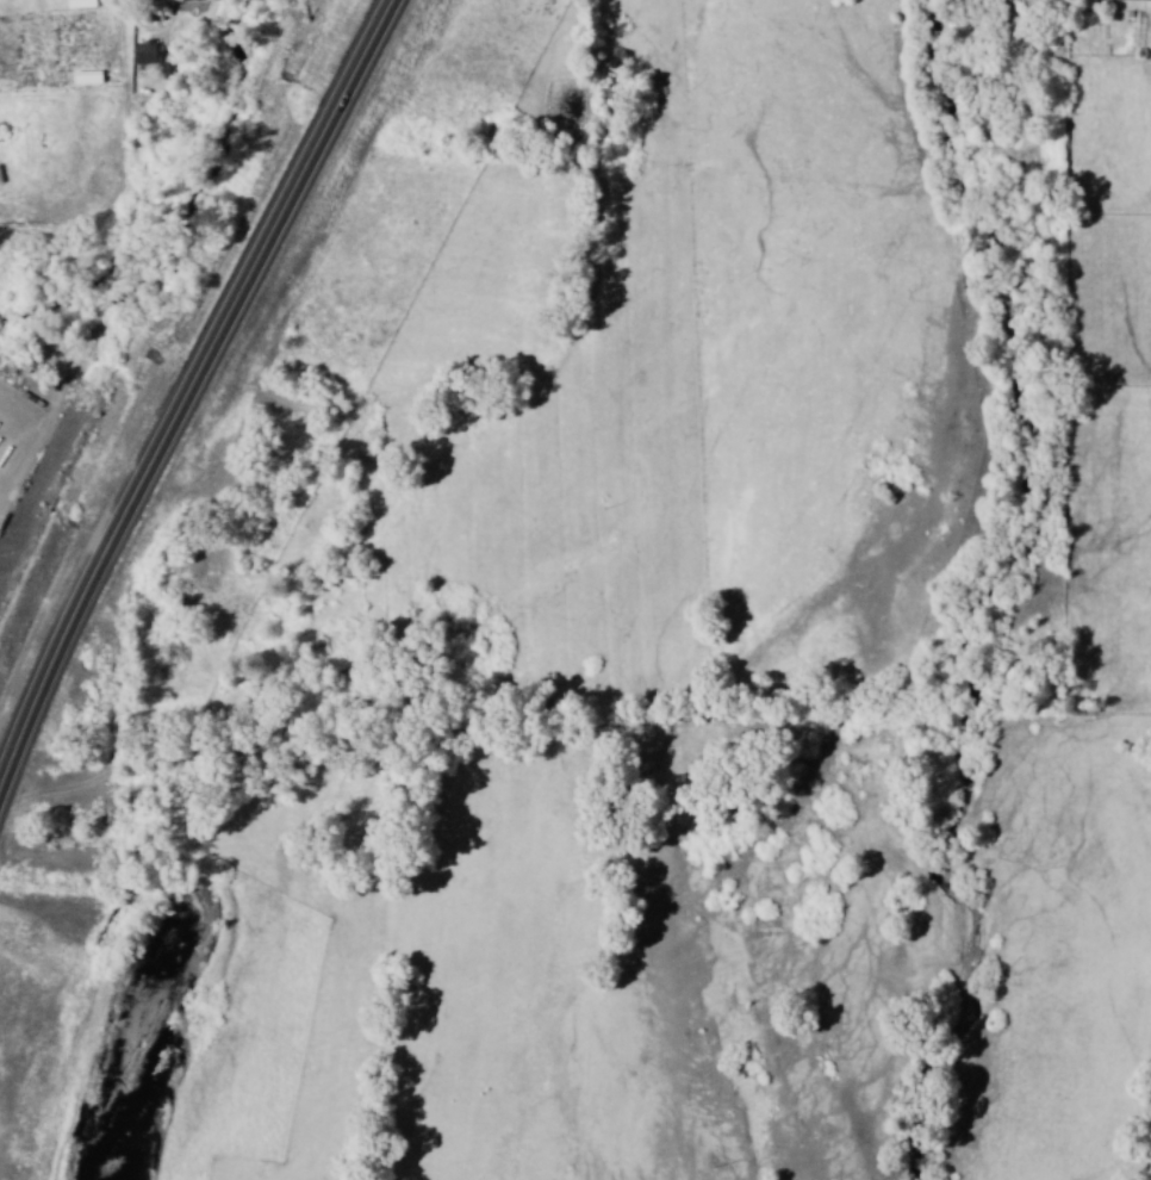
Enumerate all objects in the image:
building: (1146, 6)
building: (145, 52)
road: (187, 387)
building: (14, 423)

